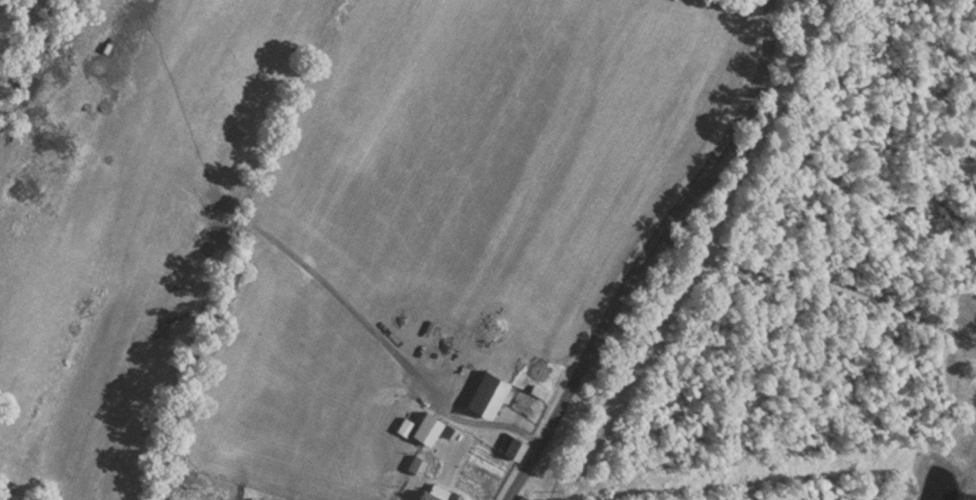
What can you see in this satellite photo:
road: (652, 250)
road: (822, 276)
building: (973, 306)
building: (486, 394)
building: (423, 425)
building: (510, 445)
building: (431, 492)
building: (523, 496)

